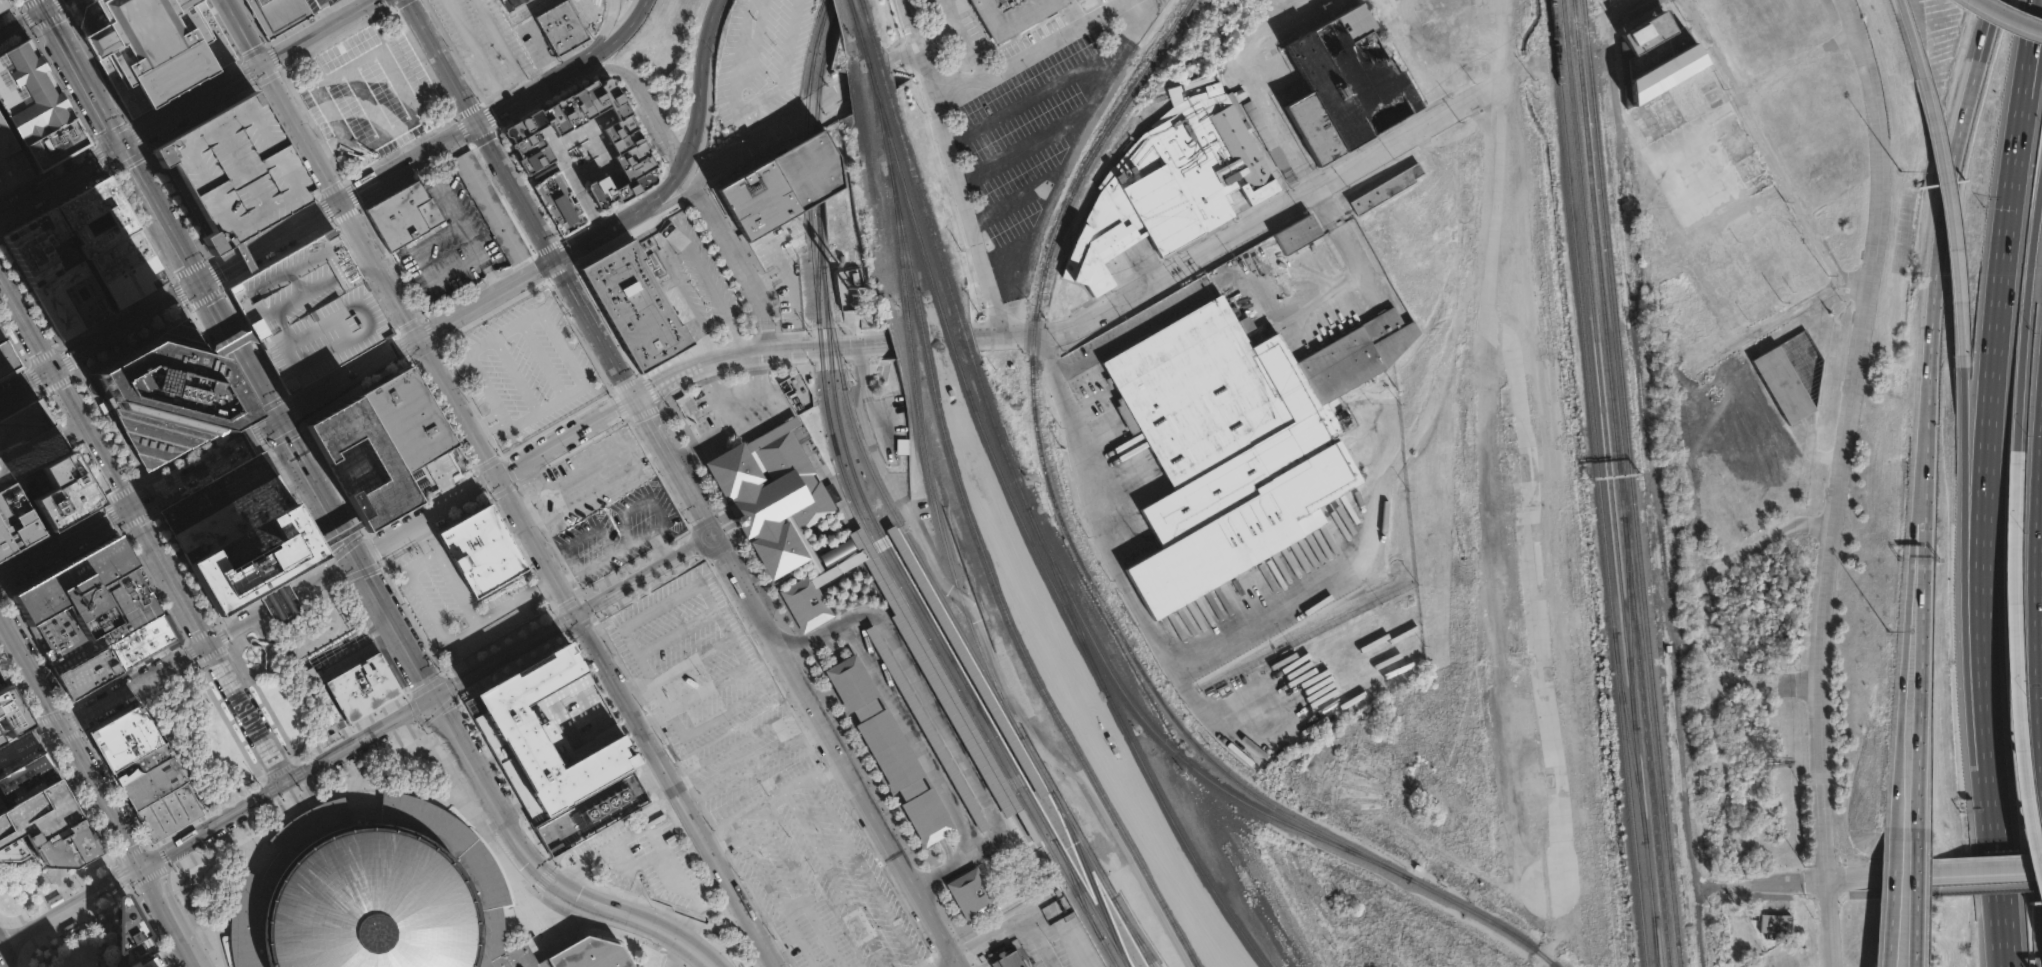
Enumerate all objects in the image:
building: (3, 4)
road: (27, 4)
road: (40, 4)
road: (51, 4)
building: (513, 4)
railway: (848, 5)
road: (1629, 5)
road: (59, 6)
road: (74, 6)
road: (17, 8)
traffic signals: (43, 9)
road: (11, 10)
road: (325, 12)
building: (279, 15)
building: (1011, 15)
road: (2010, 17)
road: (26, 19)
road: (48, 20)
road: (21, 21)
road: (2036, 25)
building: (562, 27)
railway: (854, 27)
road: (32, 31)
road: (599, 33)
road: (1912, 38)
road: (622, 39)
railway: (825, 40)
parking lot: (491, 42)
railway: (815, 43)
building: (153, 46)
road: (502, 46)
road: (476, 53)
railway: (862, 53)
road: (907, 53)
road: (1038, 53)
building: (1659, 56)
road: (442, 62)
parking lot: (757, 62)
road: (1796, 64)
road: (96, 66)
traffic signals: (264, 66)
road: (281, 69)
road: (248, 74)
building: (1347, 86)
road: (185, 90)
parking lot: (368, 93)
building: (30, 94)
road: (528, 95)
road: (2026, 99)
road: (365, 100)
road: (283, 101)
railway: (817, 103)
railway: (806, 109)
road: (703, 112)
railway: (877, 114)
road: (660, 115)
parking lot: (1024, 117)
road: (80, 119)
traffic signals: (476, 125)
road: (110, 131)
road: (137, 136)
road: (768, 137)
building: (5, 138)
building: (1269, 139)
building: (55, 144)
building: (527, 144)
road: (121, 146)
road: (1878, 146)
traffic signals: (122, 147)
road: (328, 147)
railway: (893, 149)
road: (350, 152)
building: (1214, 153)
road: (100, 155)
road: (1769, 155)
road: (127, 160)
road: (408, 163)
road: (564, 166)
road: (959, 168)
building: (12, 169)
building: (232, 170)
parking lot: (232, 170)
road: (107, 171)
railway: (913, 180)
road: (60, 181)
building: (785, 185)
building: (1387, 189)
road: (515, 193)
road: (672, 200)
traffic signals: (341, 202)
building: (561, 203)
railway: (897, 204)
building: (489, 207)
building: (1160, 210)
road: (1269, 211)
railway: (820, 213)
road: (301, 214)
building: (404, 215)
road: (1953, 217)
road: (1939, 219)
road: (461, 224)
road: (295, 227)
road: (314, 227)
road: (602, 234)
building: (1299, 235)
road: (1348, 238)
building: (109, 241)
railway: (822, 242)
parking lot: (450, 243)
road: (677, 246)
road: (359, 255)
road: (245, 256)
road: (245, 257)
traffic signals: (555, 261)
road: (365, 264)
road: (741, 264)
road: (188, 268)
parking lot: (151, 270)
road: (380, 270)
railway: (819, 270)
road: (219, 271)
railway: (814, 271)
road: (215, 272)
building: (54, 273)
road: (168, 277)
road: (169, 279)
road: (546, 279)
parking lot: (693, 279)
railway: (931, 280)
parking lot: (785, 281)
traffic signals: (199, 284)
building: (849, 288)
road: (1324, 292)
road: (178, 294)
railway: (903, 294)
road: (204, 299)
road: (487, 300)
building: (637, 300)
road: (1847, 304)
road: (226, 308)
building: (309, 310)
parking lot: (309, 310)
road: (182, 312)
road: (1769, 325)
road: (124, 326)
road: (408, 326)
parking lot: (87, 327)
road: (594, 329)
road: (2029, 329)
road: (428, 330)
building: (1, 336)
railway: (1033, 337)
road: (1012, 338)
railway: (923, 340)
road: (402, 346)
road: (233, 348)
road: (560, 348)
road: (798, 348)
road: (422, 351)
road: (472, 351)
road: (22, 353)
road: (42, 356)
road: (65, 358)
road: (541, 358)
building: (8, 360)
road: (257, 362)
road: (341, 366)
traffic signals: (51, 369)
parking lot: (523, 369)
road: (514, 374)
building: (1793, 375)
road: (265, 376)
road: (33, 377)
road: (626, 382)
road: (25, 383)
road: (57, 383)
road: (651, 387)
road: (64, 391)
road: (354, 392)
building: (163, 398)
traffic signals: (633, 398)
road: (267, 405)
road: (619, 405)
road: (458, 408)
road: (539, 408)
road: (644, 410)
road: (292, 411)
road: (1849, 412)
road: (442, 415)
road: (598, 417)
road: (490, 418)
traffic signals: (279, 421)
building: (405, 421)
road: (274, 423)
road: (485, 425)
road: (494, 425)
road: (69, 426)
road: (1853, 426)
road: (60, 427)
road: (106, 428)
road: (478, 429)
road: (257, 432)
road: (247, 435)
road: (283, 437)
building: (1237, 440)
building: (26, 441)
parking garage: (26, 441)
building: (903, 446)
road: (192, 450)
road: (570, 452)
road: (631, 454)
building: (377, 456)
railway: (992, 459)
road: (487, 464)
road: (671, 466)
road: (507, 470)
road: (208, 478)
traffic signals: (497, 478)
parking lot: (587, 478)
railway: (1598, 483)
railway: (1609, 483)
railway: (1619, 483)
railway: (1631, 483)
road: (482, 486)
road: (318, 488)
road: (1988, 490)
road: (119, 492)
road: (502, 492)
building: (771, 493)
building: (57, 494)
road: (143, 498)
road: (2015, 498)
road: (488, 500)
road: (298, 503)
road: (417, 504)
traffic signals: (130, 507)
road: (719, 512)
railway: (893, 513)
road: (112, 516)
road: (426, 517)
road: (136, 522)
road: (702, 522)
building: (14, 524)
road: (625, 527)
building: (245, 531)
parking lot: (618, 531)
road: (52, 533)
road: (340, 535)
traffic signals: (710, 535)
road: (637, 538)
road: (604, 539)
road: (1763, 541)
road: (567, 542)
road: (696, 543)
road: (65, 544)
building: (802, 544)
road: (658, 545)
road: (535, 546)
road: (345, 547)
road: (722, 547)
road: (369, 549)
building: (480, 552)
traffic signals: (357, 557)
road: (62, 560)
road: (634, 562)
railway: (901, 566)
road: (185, 567)
road: (336, 569)
road: (359, 570)
road: (169, 573)
road: (1827, 574)
road: (642, 575)
road: (1121, 575)
building: (809, 582)
road: (738, 583)
railway: (955, 584)
road: (647, 585)
road: (274, 590)
road: (1, 592)
road: (1, 595)
road: (282, 599)
road: (1968, 599)
building: (84, 604)
road: (568, 604)
road: (585, 607)
traffic signals: (575, 614)
road: (787, 614)
road: (411, 618)
road: (560, 621)
railway: (1628, 622)
road: (579, 624)
fountain: (332, 627)
road: (201, 631)
road: (809, 632)
road: (225, 633)
road: (498, 640)
railway: (933, 640)
traffic signals: (208, 641)
road: (1910, 641)
road: (1922, 642)
building: (141, 643)
road: (181, 645)
railway: (1082, 647)
road: (871, 650)
road: (36, 652)
road: (1823, 652)
road: (188, 654)
road: (212, 654)
road: (505, 654)
road: (218, 659)
park: (304, 660)
building: (965, 660)
road: (511, 664)
railway: (1106, 669)
building: (88, 675)
building: (937, 675)
parking lot: (1, 681)
road: (1769, 681)
road: (426, 684)
road: (449, 685)
building: (360, 688)
road: (18, 690)
parking lot: (710, 692)
traffic signals: (435, 694)
road: (804, 698)
road: (104, 700)
road: (138, 700)
road: (265, 702)
road: (438, 709)
railway: (1054, 709)
road: (415, 710)
road: (940, 713)
road: (52, 714)
building: (9, 715)
road: (936, 716)
building: (929, 719)
road: (75, 720)
road: (2015, 723)
traffic signals: (60, 725)
building: (553, 726)
road: (916, 726)
building: (926, 728)
road: (258, 729)
road: (350, 729)
building: (1303, 730)
road: (18, 732)
road: (44, 734)
road: (361, 737)
railway: (1627, 737)
road: (67, 738)
park: (197, 739)
road: (739, 739)
railway: (1189, 739)
road: (70, 741)
building: (128, 746)
building: (889, 750)
road: (748, 764)
road: (825, 764)
road: (1725, 770)
road: (296, 771)
building: (23, 773)
road: (276, 773)
road: (74, 777)
road: (480, 778)
traffic signals: (287, 781)
road: (1826, 781)
road: (990, 783)
building: (31, 786)
road: (270, 786)
road: (674, 790)
road: (692, 791)
building: (160, 800)
road: (3, 802)
road: (773, 802)
building: (1, 807)
road: (208, 812)
building: (592, 814)
building: (38, 816)
road: (214, 822)
railway: (1362, 823)
road: (878, 825)
railway: (1305, 825)
road: (99, 833)
railway: (1364, 836)
railway: (1181, 840)
road: (239, 843)
road: (150, 845)
railway: (1370, 847)
building: (14, 850)
building: (66, 850)
railway: (1031, 851)
railway: (1086, 852)
road: (127, 853)
road: (162, 853)
road: (784, 853)
railway: (1380, 856)
traffic signals: (143, 864)
road: (949, 865)
railway: (1388, 865)
road: (757, 867)
railway: (1400, 872)
road: (866, 873)
road: (1990, 873)
road: (119, 874)
railway: (1095, 875)
road: (149, 876)
road: (1088, 876)
road: (42, 878)
railway: (1090, 878)
road: (1834, 879)
road: (835, 880)
road: (1998, 882)
road: (2003, 882)
parking lot: (822, 885)
road: (101, 887)
building: (974, 887)
railway: (1077, 888)
building: (385, 896)
railway: (1093, 899)
railway: (1091, 902)
road: (794, 903)
road: (1893, 903)
road: (1918, 904)
railway: (1469, 909)
road: (620, 914)
road: (173, 915)
park: (58, 918)
road: (934, 922)
road: (74, 923)
road: (1832, 923)
road: (1013, 924)
building: (1776, 924)
road: (148, 927)
road: (602, 927)
road: (30, 929)
road: (822, 932)
road: (959, 934)
building: (129, 936)
road: (796, 939)
parking lot: (1054, 939)
railway: (1654, 941)
road: (780, 943)
road: (8, 948)
road: (942, 948)
road: (2004, 949)
railway: (1108, 952)
building: (1007, 960)
road: (935, 961)
road: (7, 962)
road: (2, 963)
road: (22, 963)
building: (150, 963)
road: (950, 963)
road: (957, 963)
parking lot: (990, 965)
building: (1757, 966)

